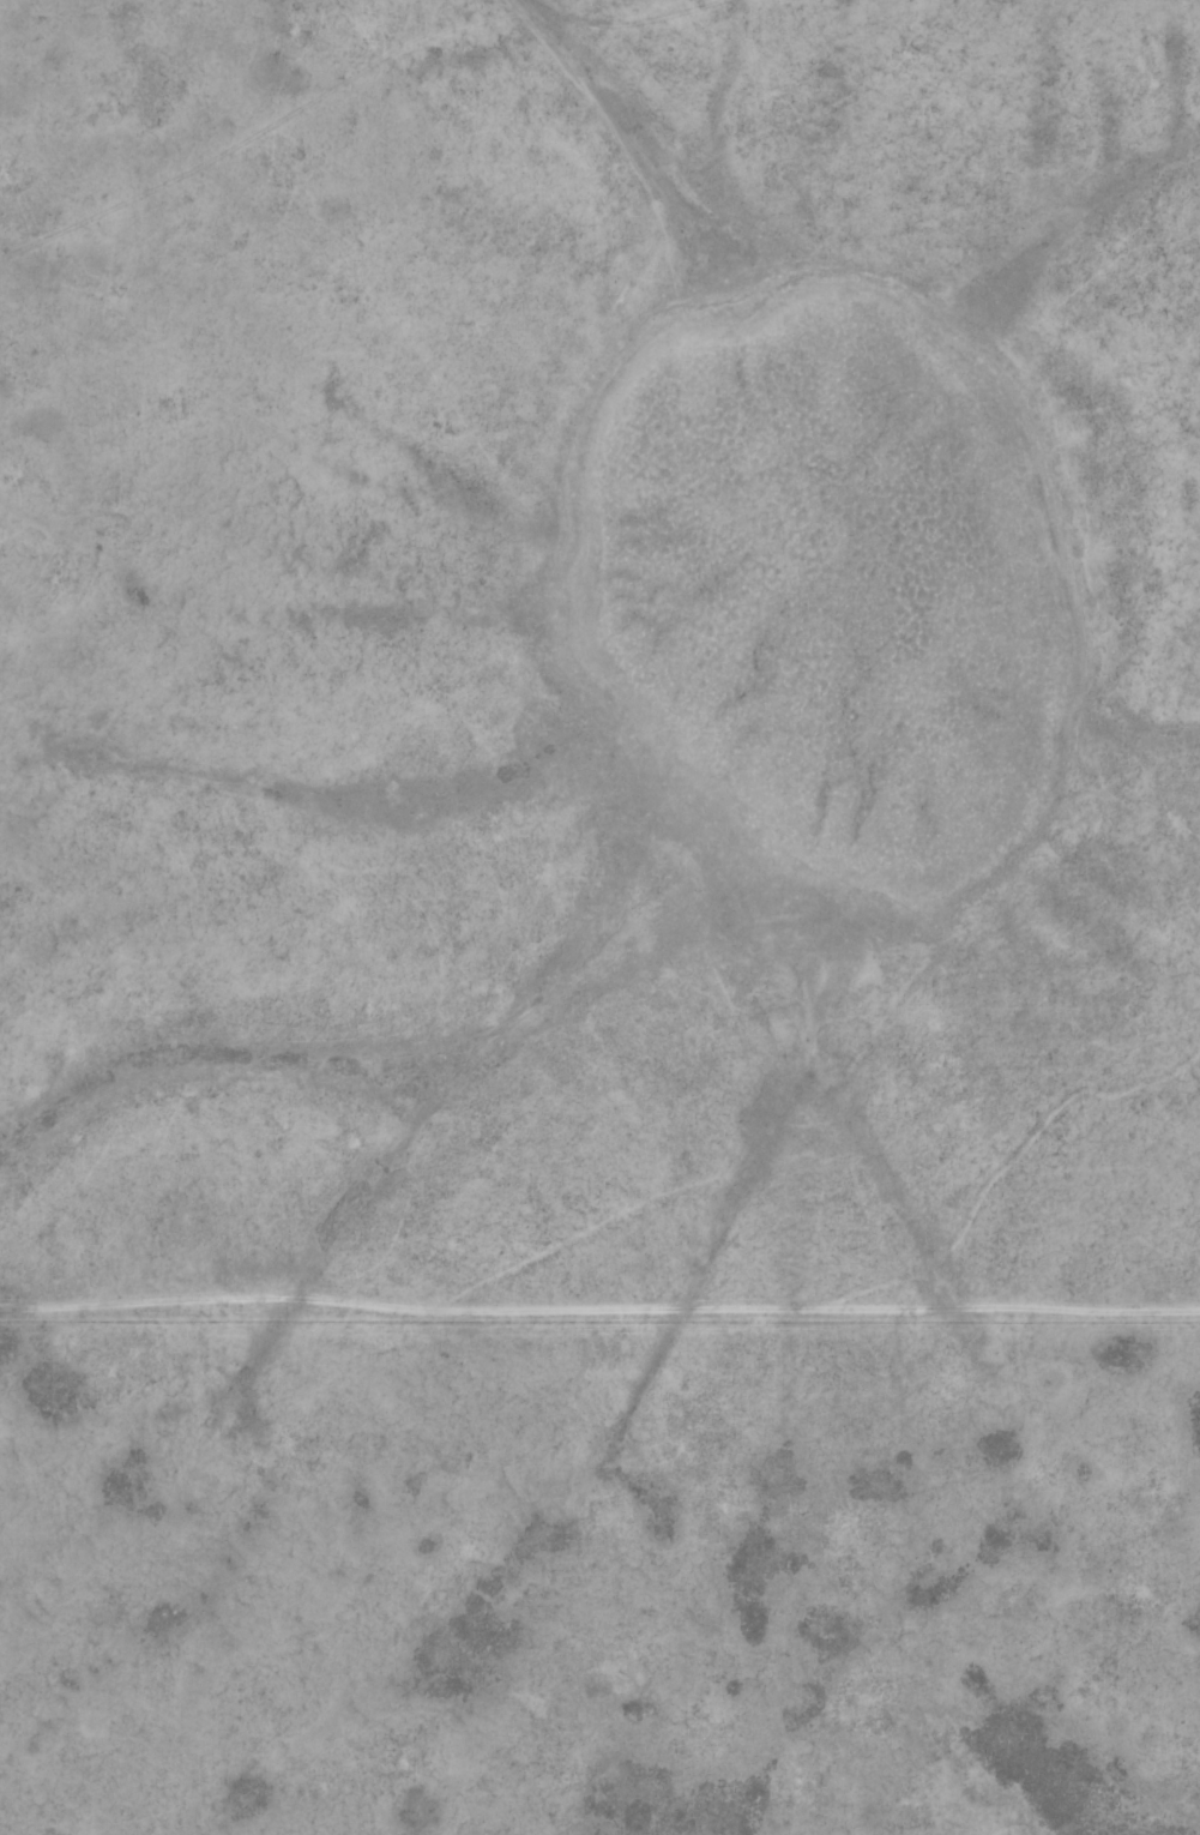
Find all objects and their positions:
road: (599, 1251)

